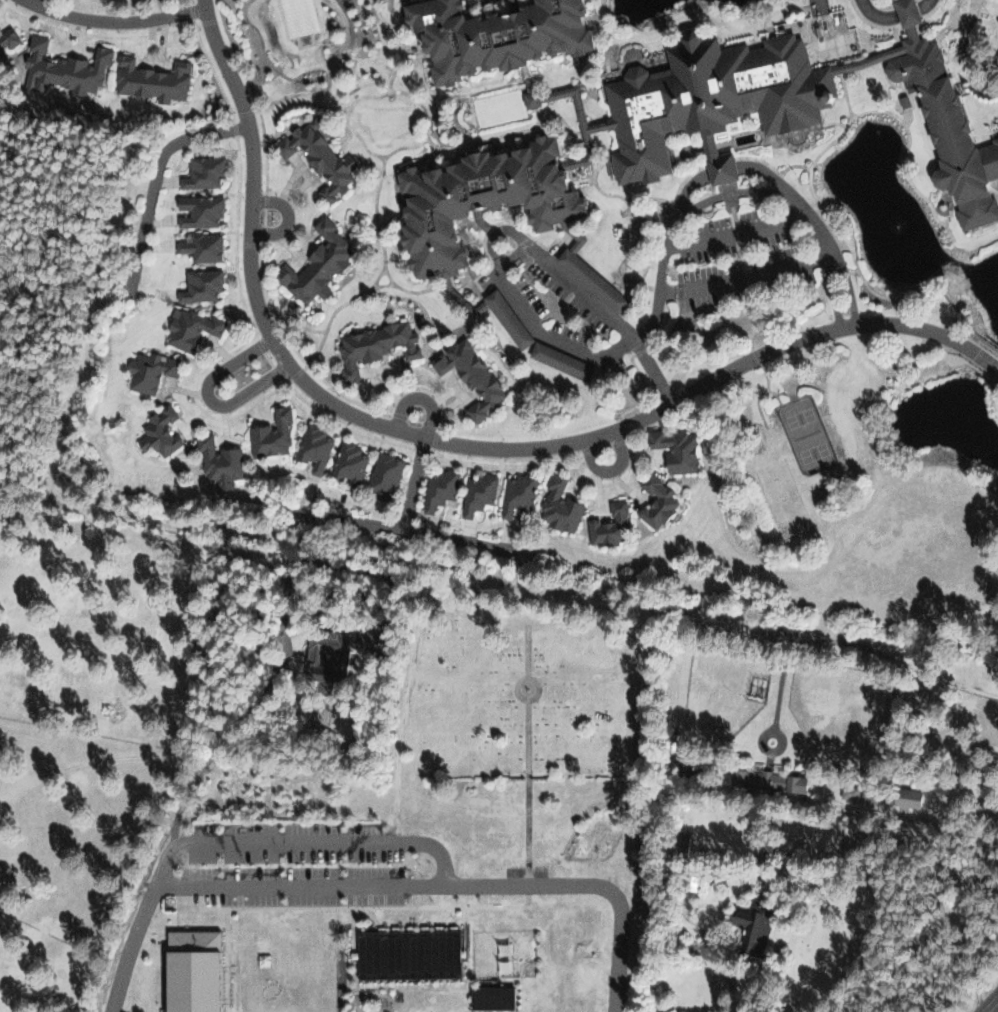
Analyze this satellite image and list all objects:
road: (32, 1)
road: (35, 1)
road: (118, 20)
building: (492, 35)
building: (7, 38)
building: (62, 68)
building: (150, 79)
building: (709, 99)
building: (943, 125)
building: (317, 159)
road: (723, 170)
building: (201, 172)
road: (767, 177)
road: (688, 191)
building: (476, 200)
building: (198, 210)
road: (287, 218)
building: (452, 230)
building: (200, 247)
building: (315, 264)
building: (587, 274)
road: (745, 278)
building: (199, 285)
road: (847, 287)
road: (832, 291)
building: (503, 317)
building: (188, 328)
building: (373, 346)
road: (584, 352)
building: (556, 360)
building: (148, 371)
building: (467, 376)
road: (205, 398)
road: (418, 399)
building: (158, 431)
building: (270, 434)
road: (459, 444)
building: (313, 447)
building: (673, 450)
building: (218, 462)
building: (347, 464)
road: (610, 470)
building: (382, 476)
building: (437, 489)
building: (476, 493)
building: (516, 494)
building: (655, 502)
building: (558, 506)
building: (607, 525)
road: (848, 645)
building: (330, 653)
building: (765, 780)
building: (847, 793)
building: (904, 798)
road: (933, 824)
building: (676, 844)
road: (298, 845)
road: (380, 888)
building: (749, 927)
building: (406, 954)
building: (188, 972)
road: (728, 980)
building: (490, 998)
road: (987, 1000)
road: (979, 1011)

